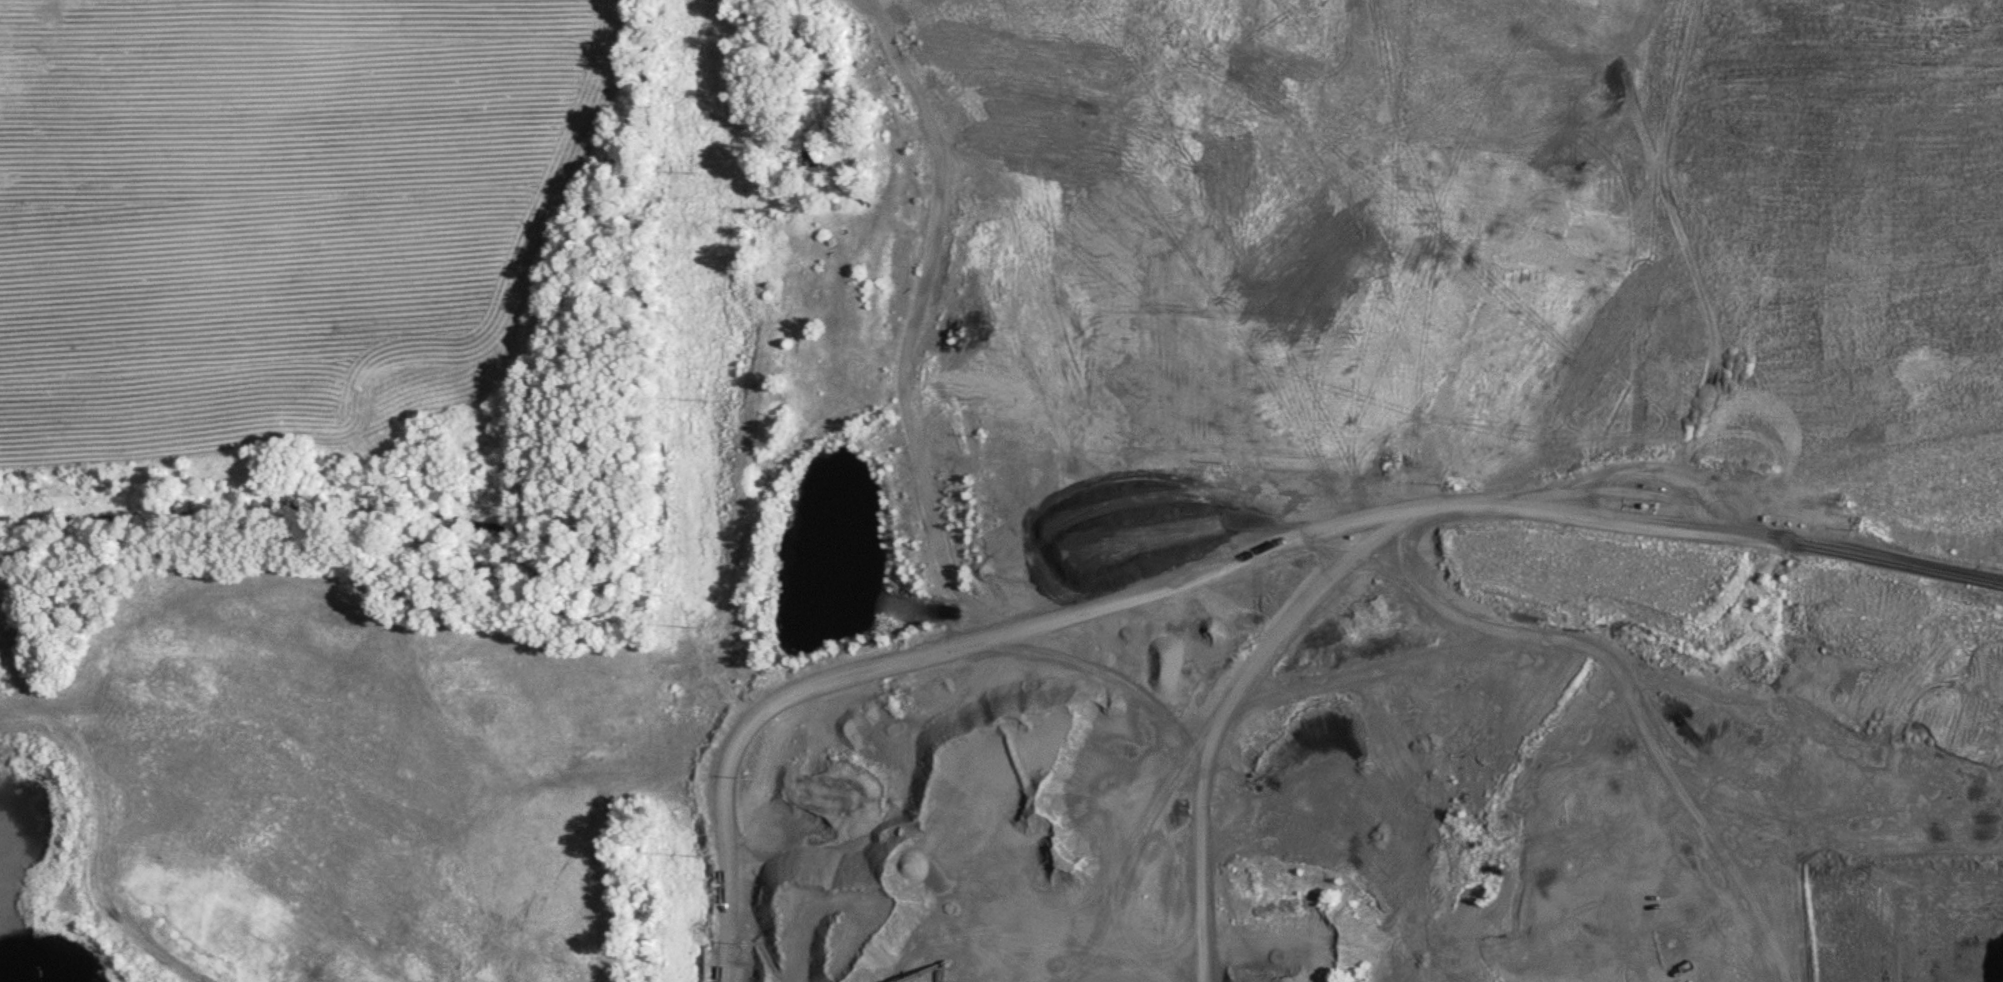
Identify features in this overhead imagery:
road: (1439, 324)
road: (1716, 531)

